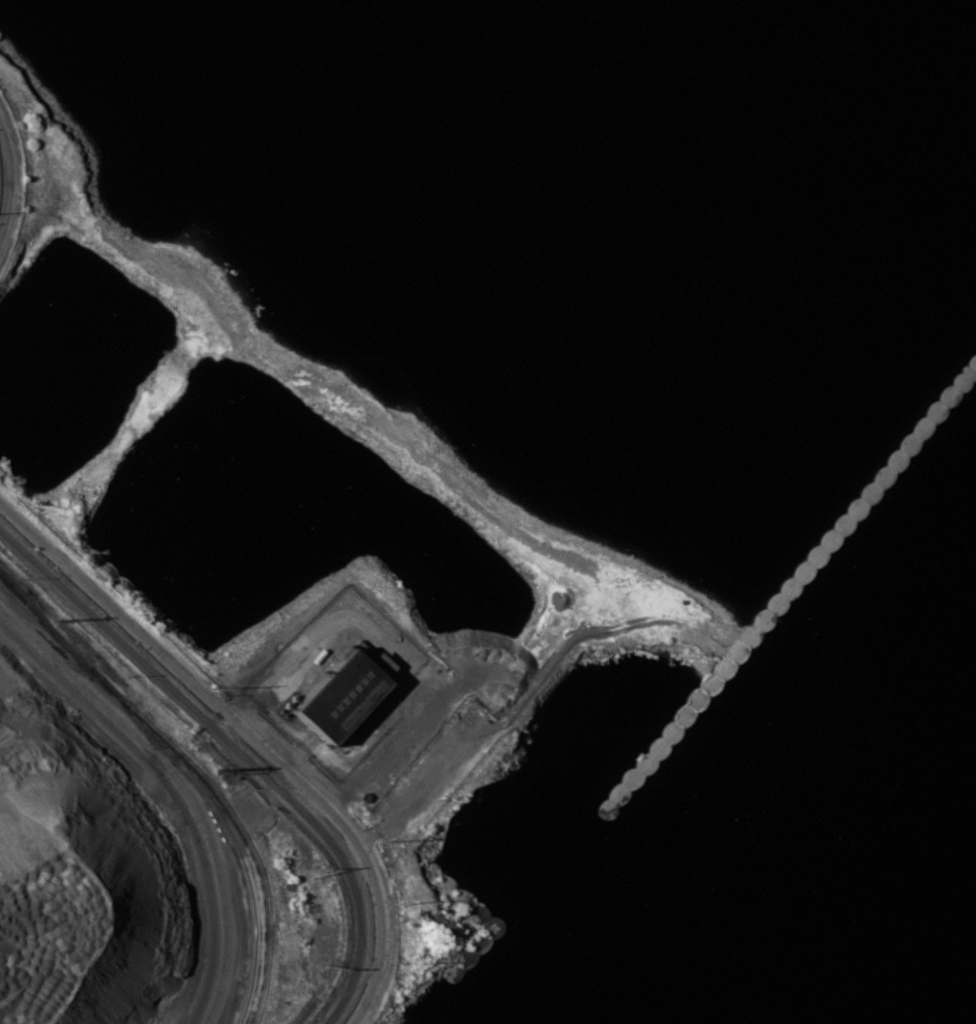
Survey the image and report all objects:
railway: (38, 612)
road: (392, 648)
building: (338, 695)
road: (240, 746)
railway: (198, 771)
road: (185, 784)
railway: (222, 823)
road: (46, 826)

